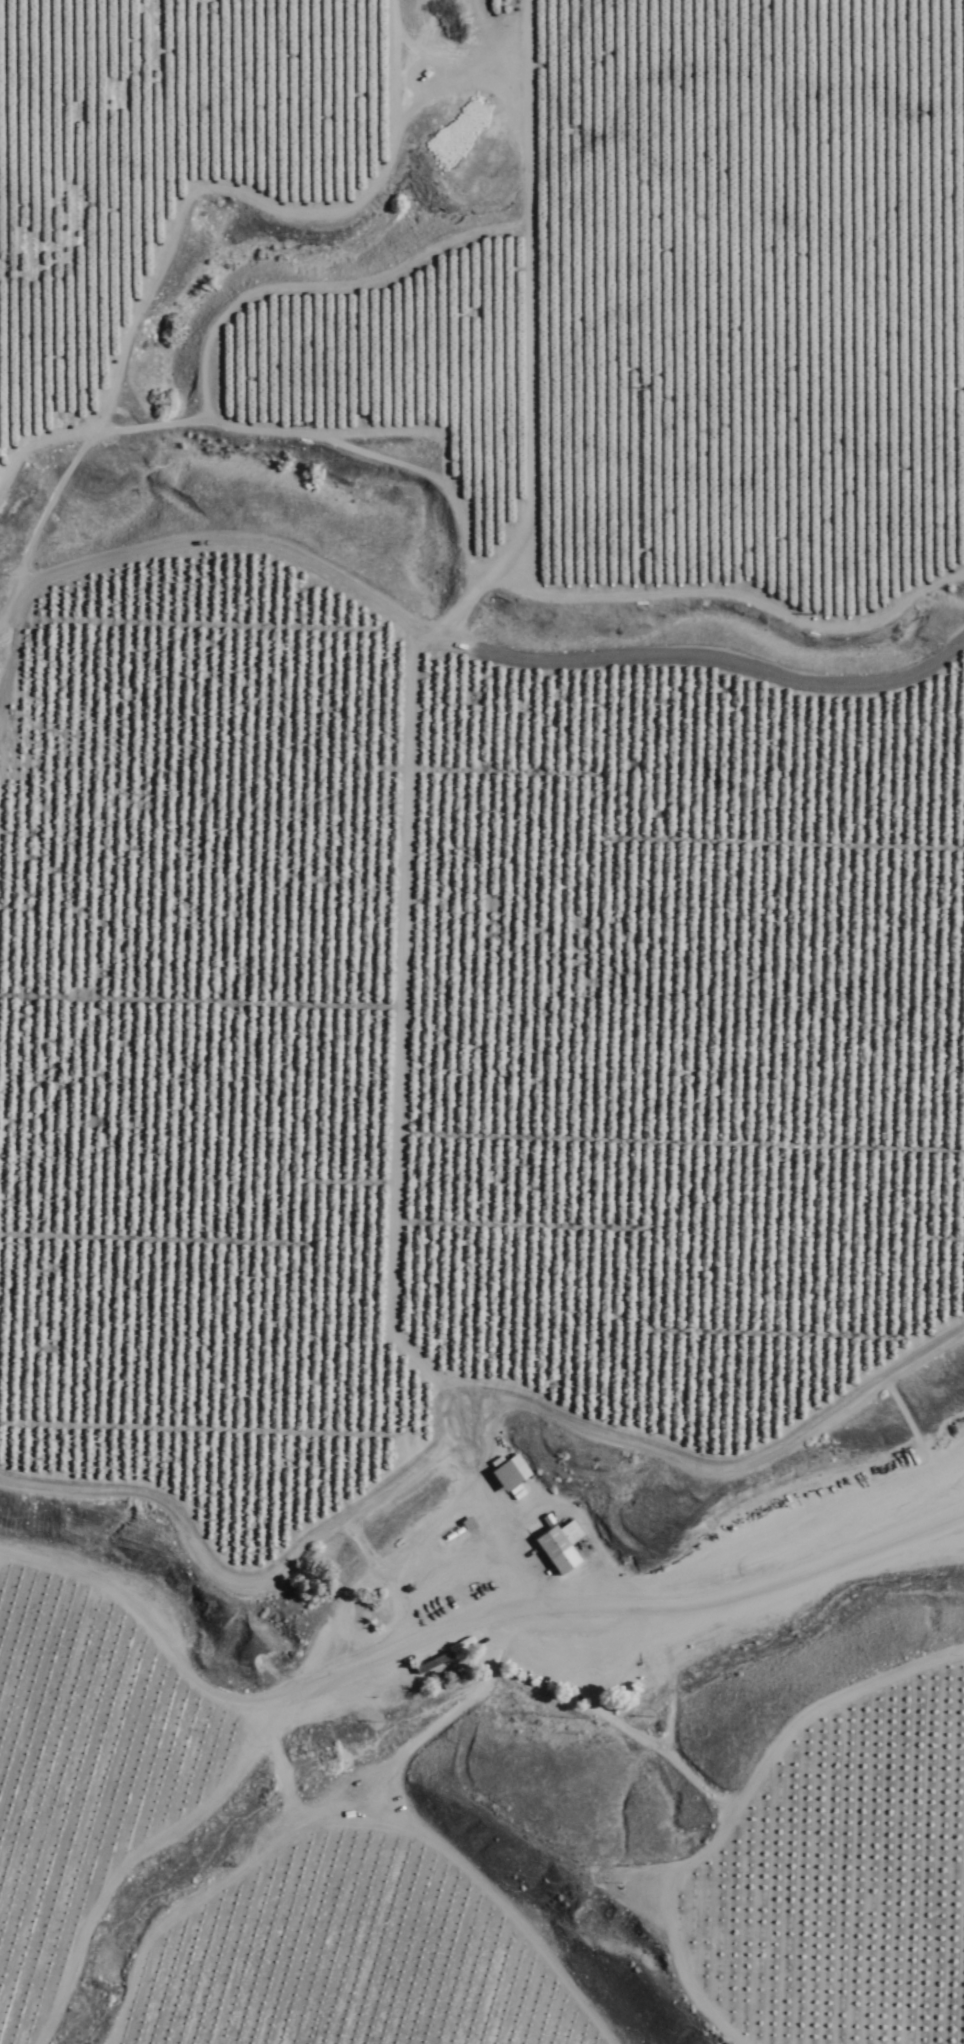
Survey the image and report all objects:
crop: (462, 921)
road: (572, 1032)
building: (508, 1473)
building: (558, 1547)
road: (462, 1660)
road: (740, 1800)

